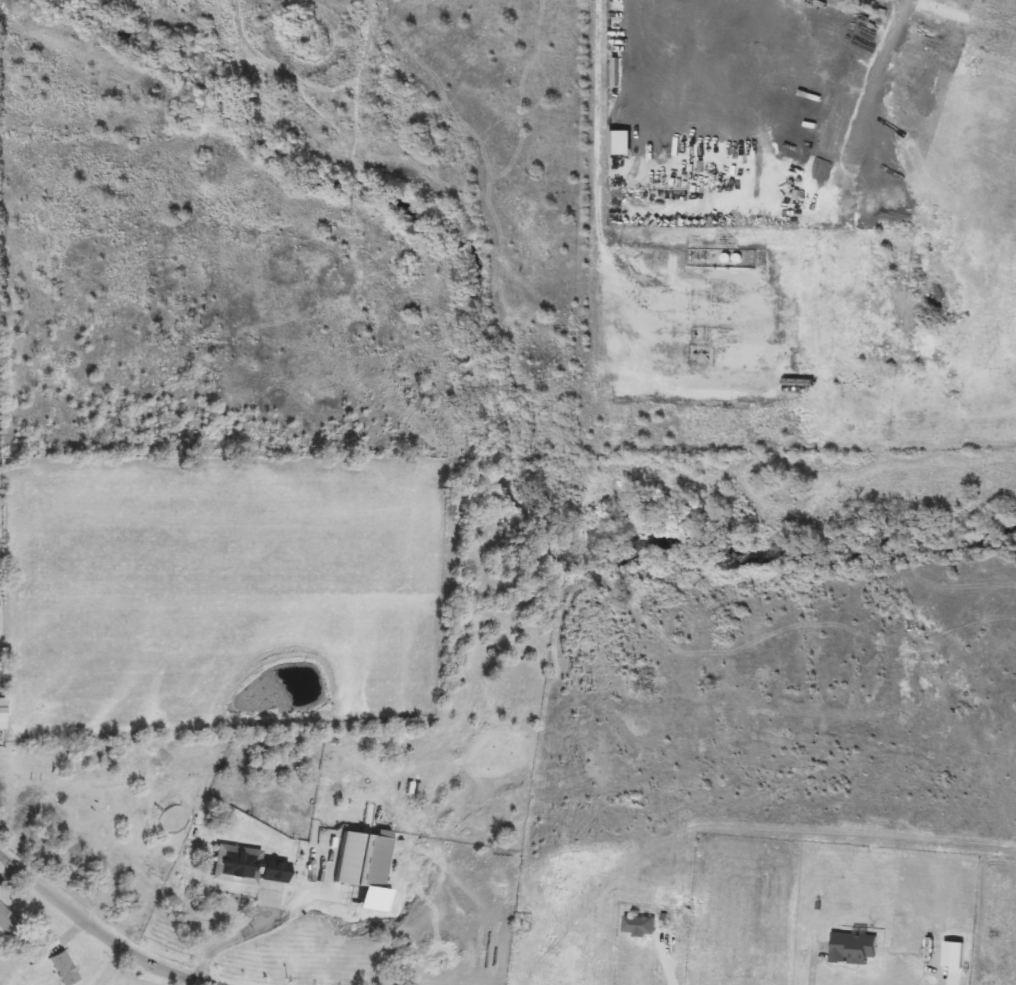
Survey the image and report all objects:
road: (693, 127)
building: (360, 861)
building: (244, 866)
building: (6, 924)
building: (638, 926)
road: (97, 930)
road: (253, 930)
road: (105, 964)
building: (61, 969)

